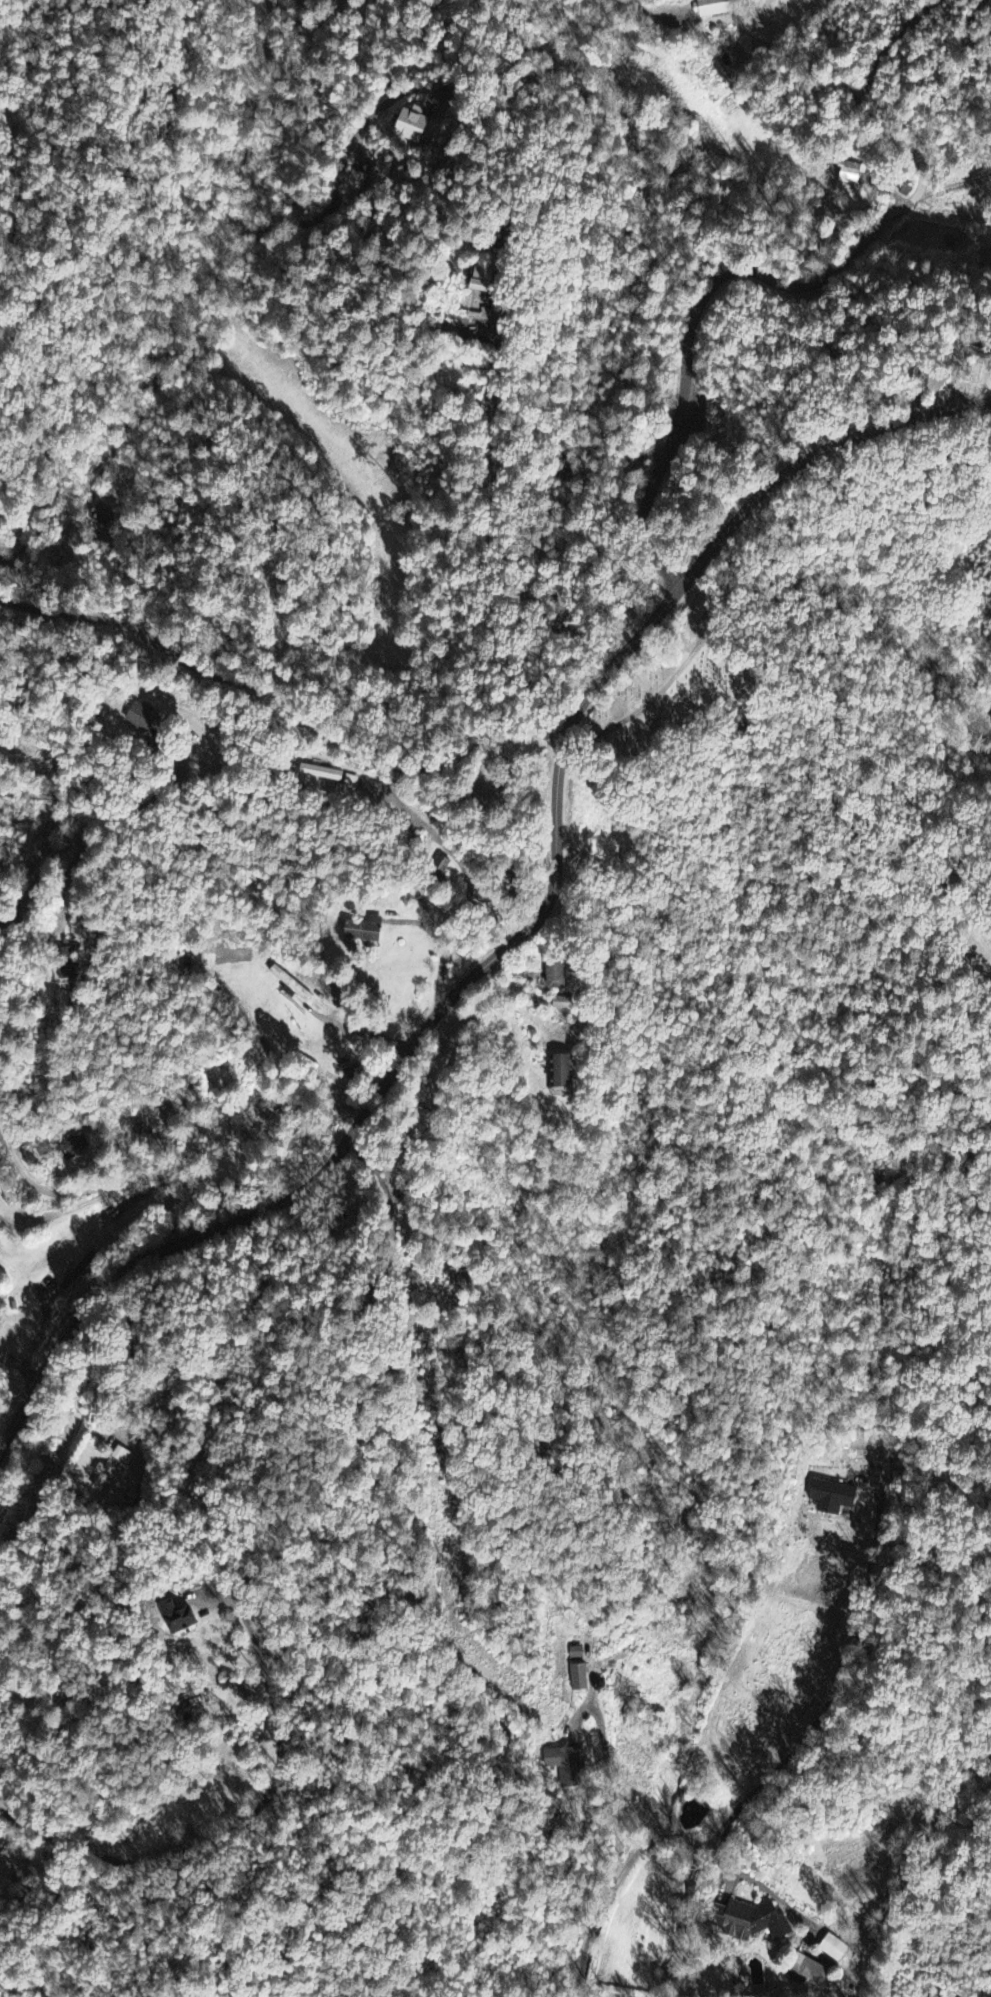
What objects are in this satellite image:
building: (714, 8)
road: (252, 115)
building: (412, 126)
building: (850, 174)
building: (484, 279)
road: (785, 284)
road: (129, 408)
park: (664, 683)
road: (285, 705)
building: (143, 717)
building: (326, 774)
building: (352, 782)
road: (150, 804)
road: (75, 837)
road: (417, 890)
road: (527, 929)
building: (365, 931)
building: (67, 952)
building: (66, 971)
building: (557, 974)
building: (291, 984)
building: (562, 1004)
building: (563, 1076)
building: (71, 1146)
building: (44, 1150)
road: (112, 1182)
building: (80, 1272)
road: (19, 1361)
building: (0, 1376)
building: (113, 1468)
building: (832, 1497)
building: (180, 1618)
building: (576, 1653)
building: (579, 1678)
building: (562, 1759)
road: (237, 1821)
road: (702, 1844)
building: (13, 1855)
road: (614, 1857)
building: (757, 1922)
building: (833, 1949)
building: (811, 1971)

